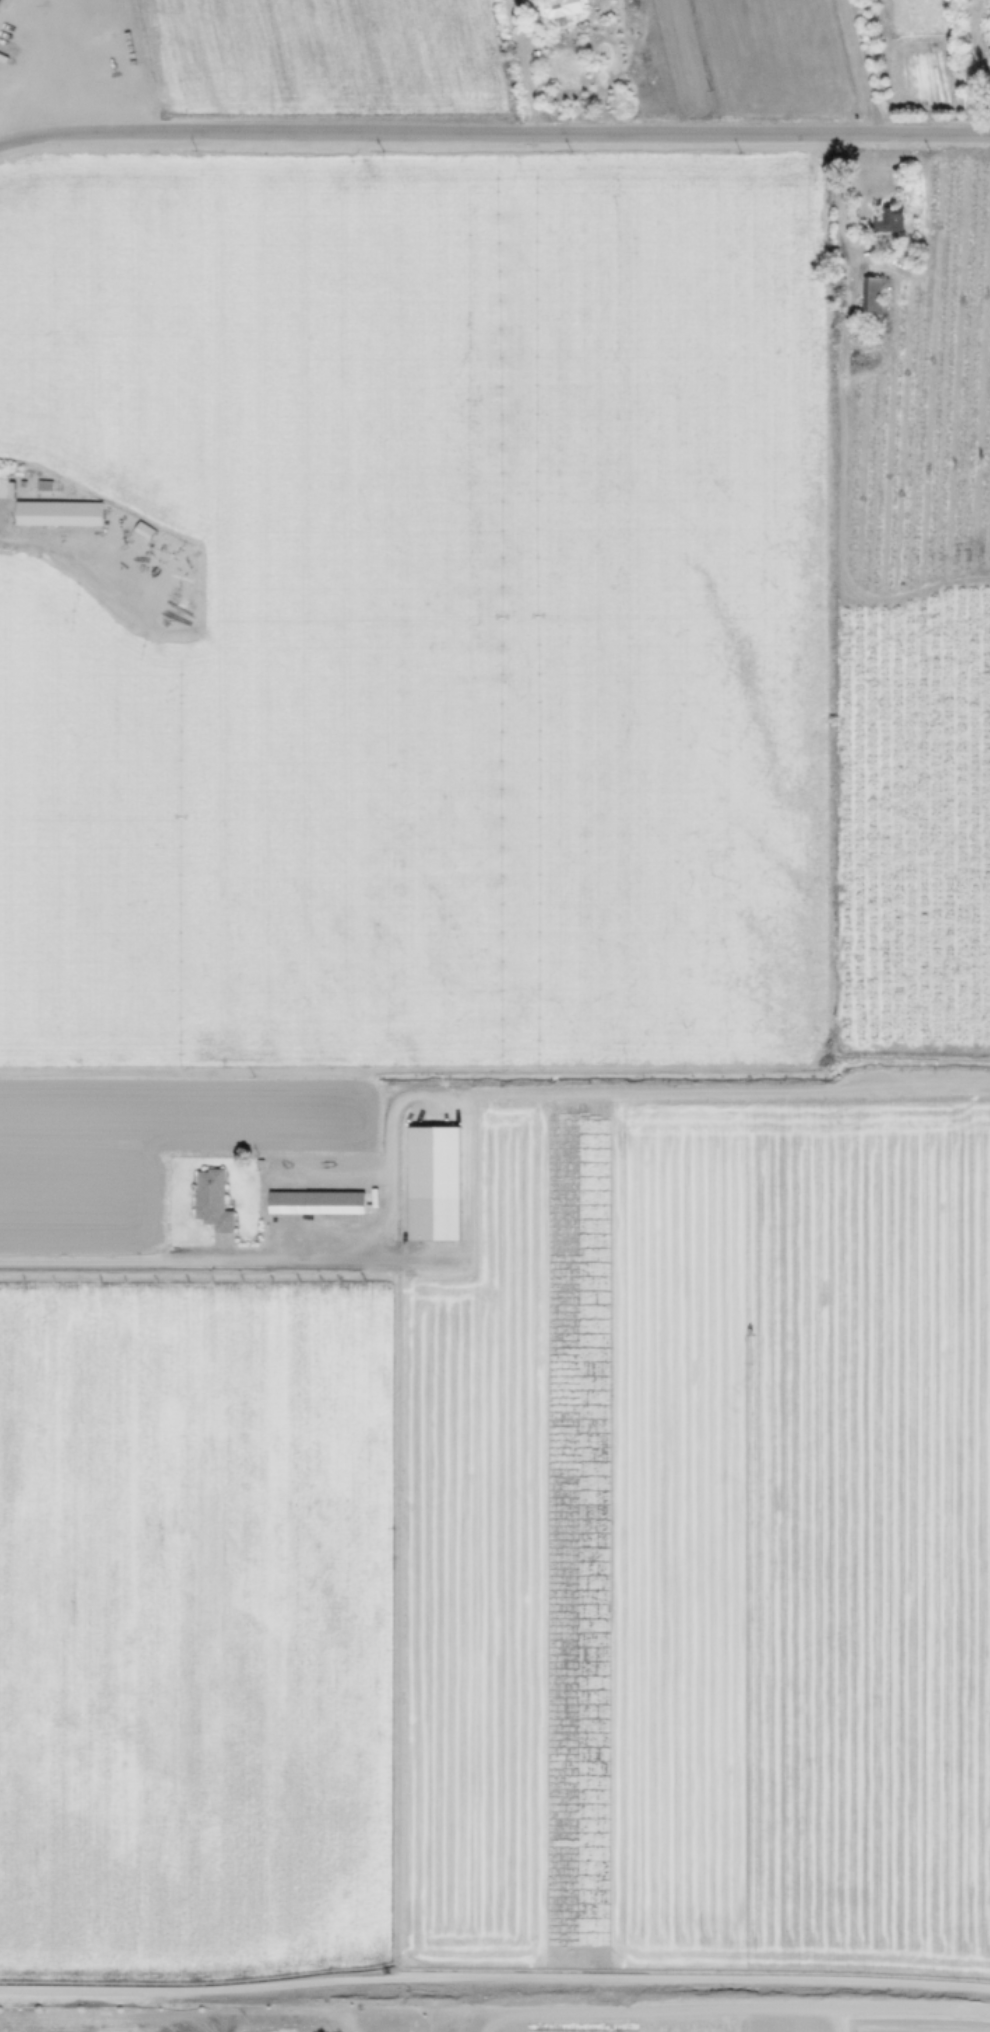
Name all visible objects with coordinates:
building: (558, 8)
road: (524, 68)
road: (869, 70)
road: (978, 70)
road: (54, 78)
road: (494, 137)
building: (887, 218)
building: (870, 294)
road: (843, 435)
building: (57, 513)
building: (143, 529)
road: (25, 538)
road: (497, 1075)
building: (433, 1182)
building: (211, 1200)
building: (315, 1203)
road: (290, 1262)

